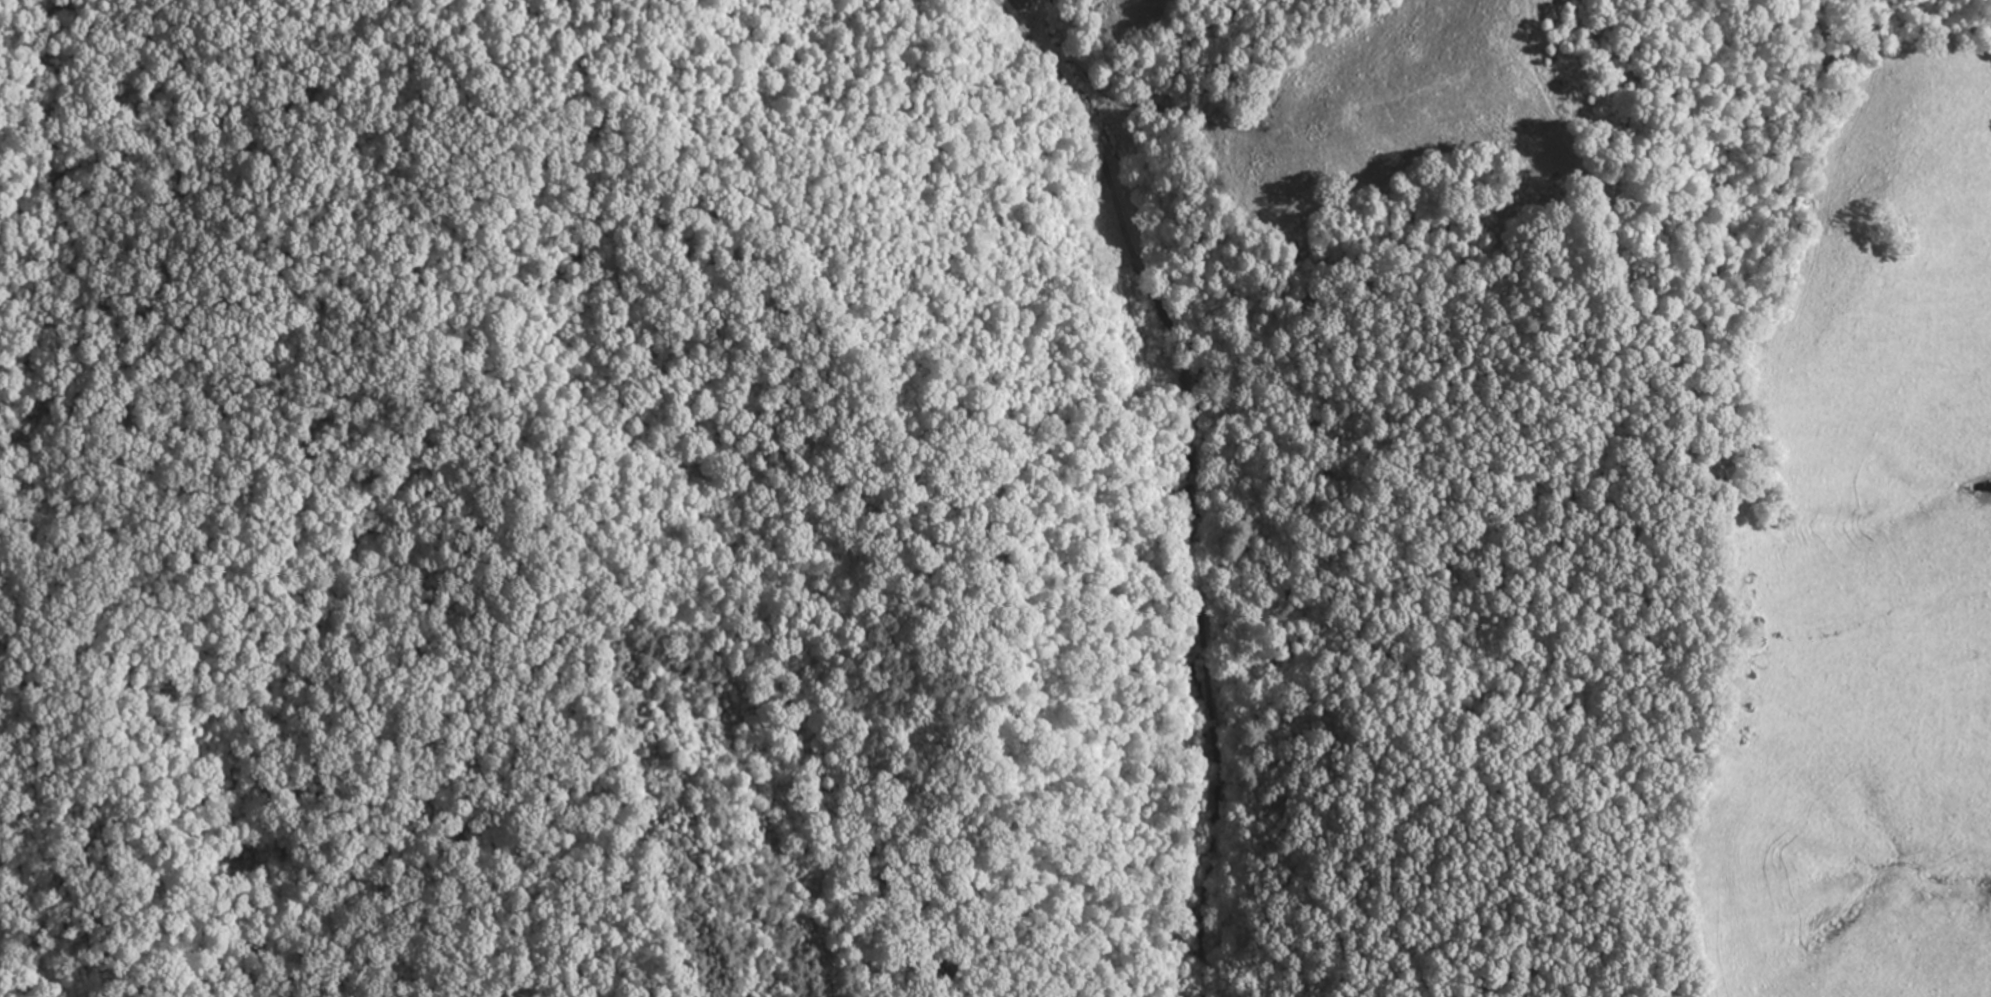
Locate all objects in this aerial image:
road: (1191, 471)

